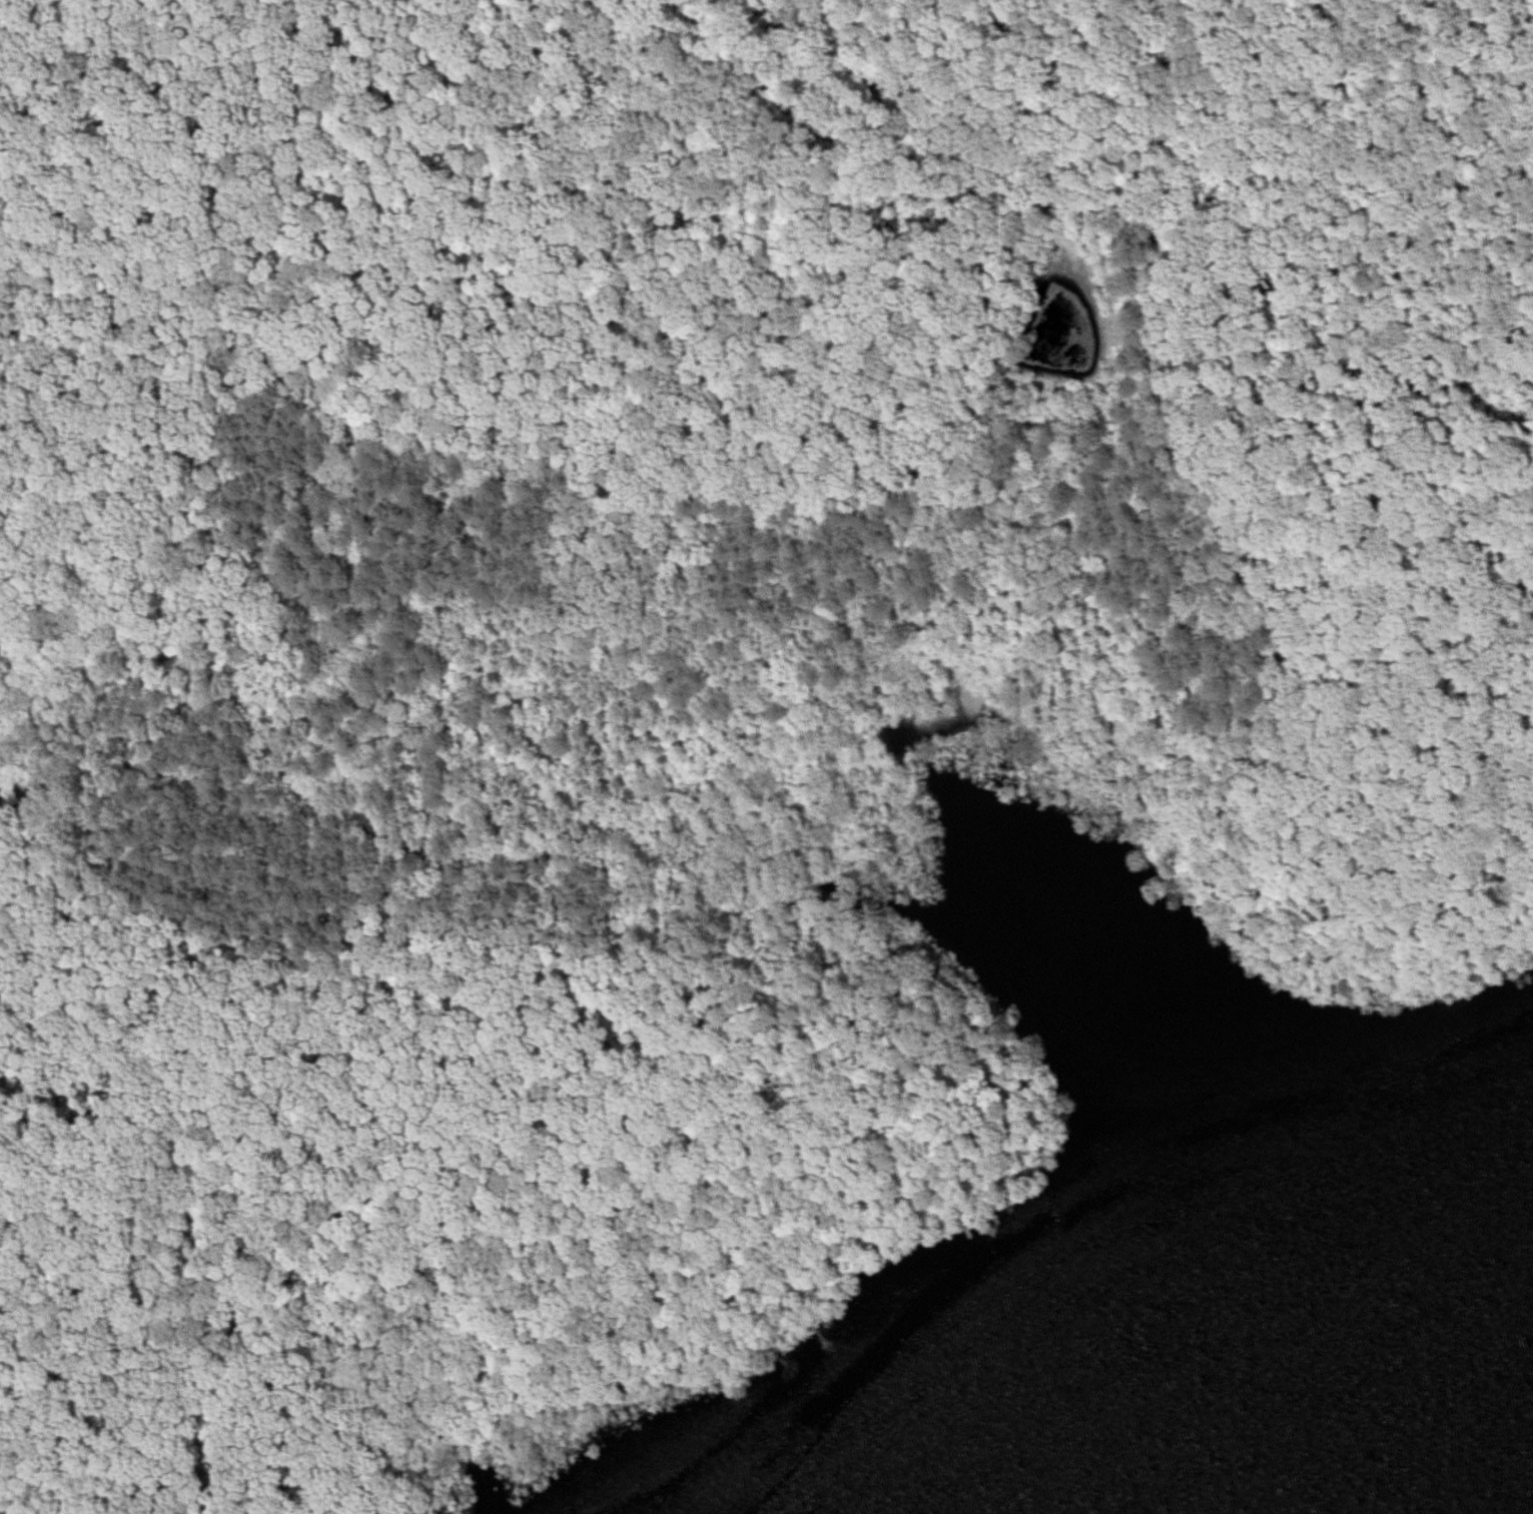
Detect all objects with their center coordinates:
road: (1182, 473)

